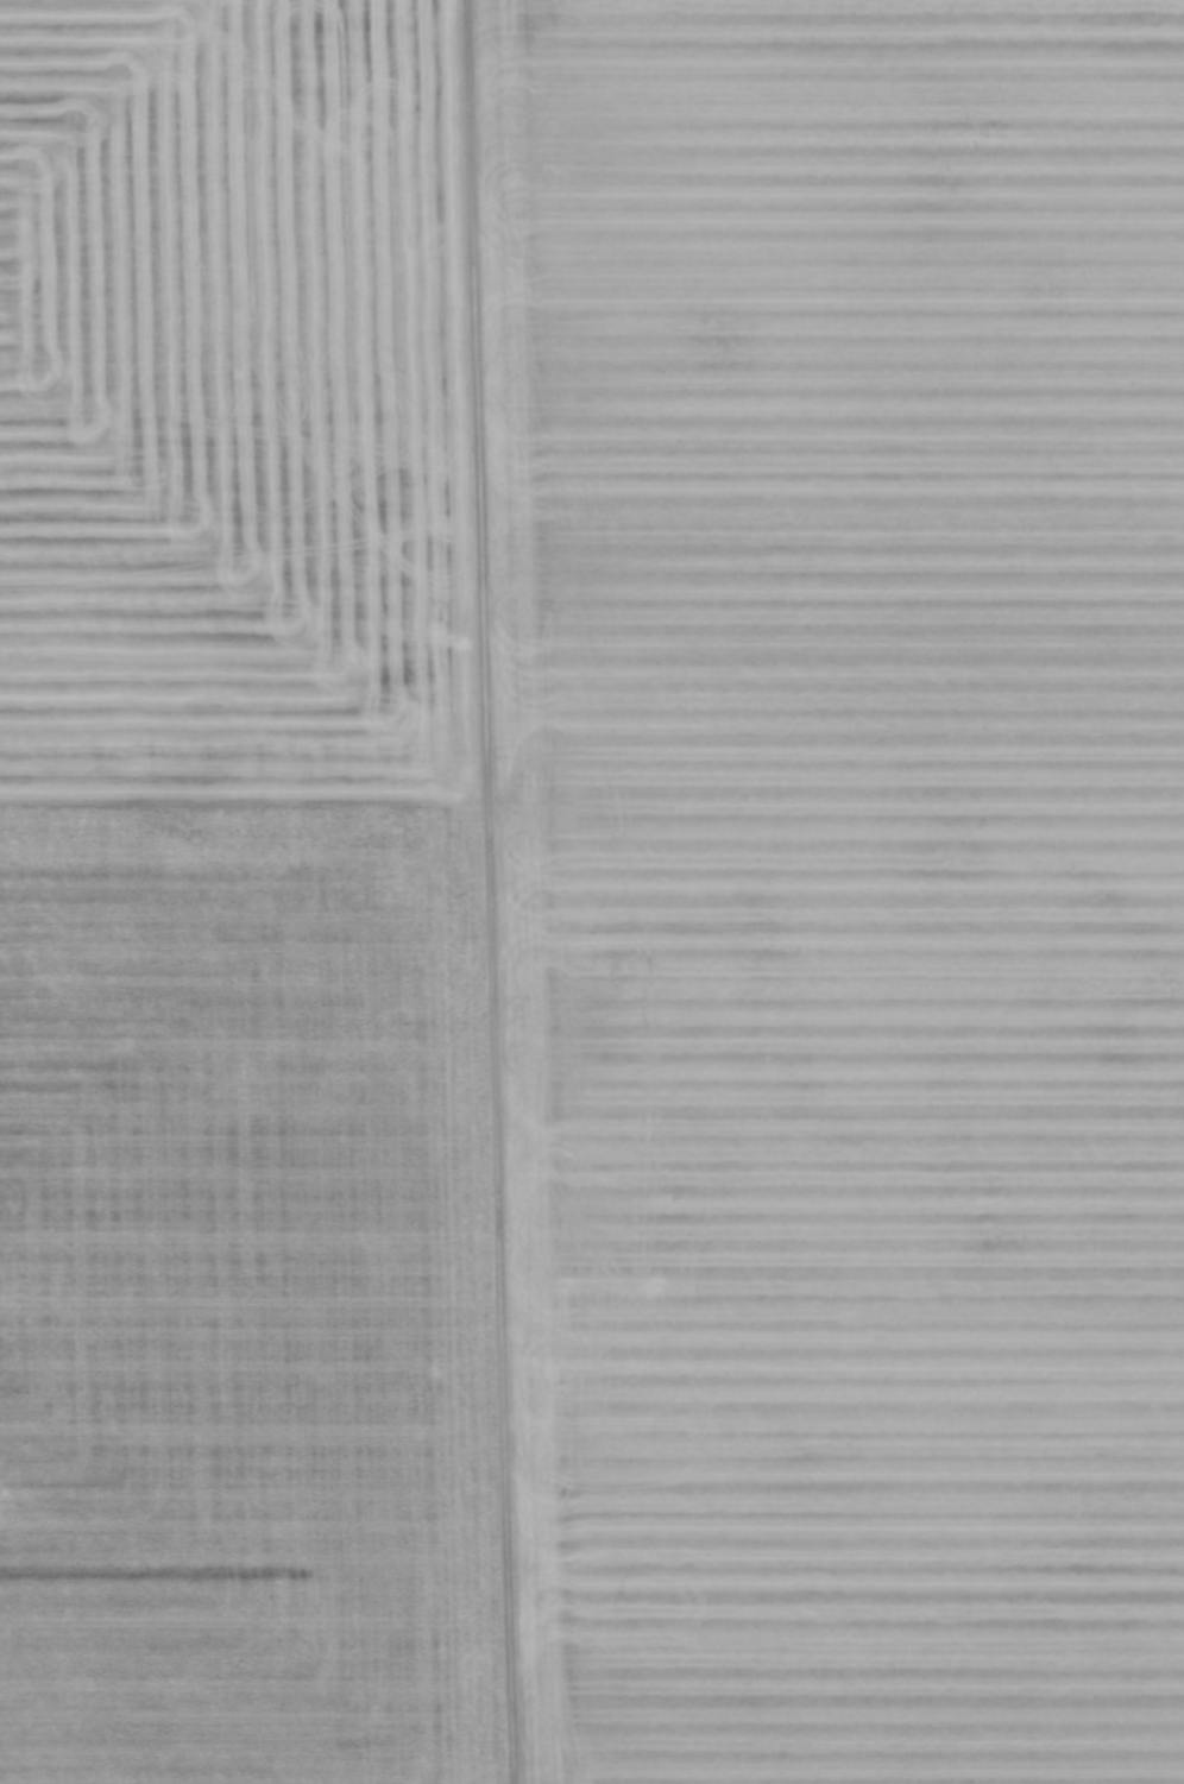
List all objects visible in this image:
crop: (592, 891)

